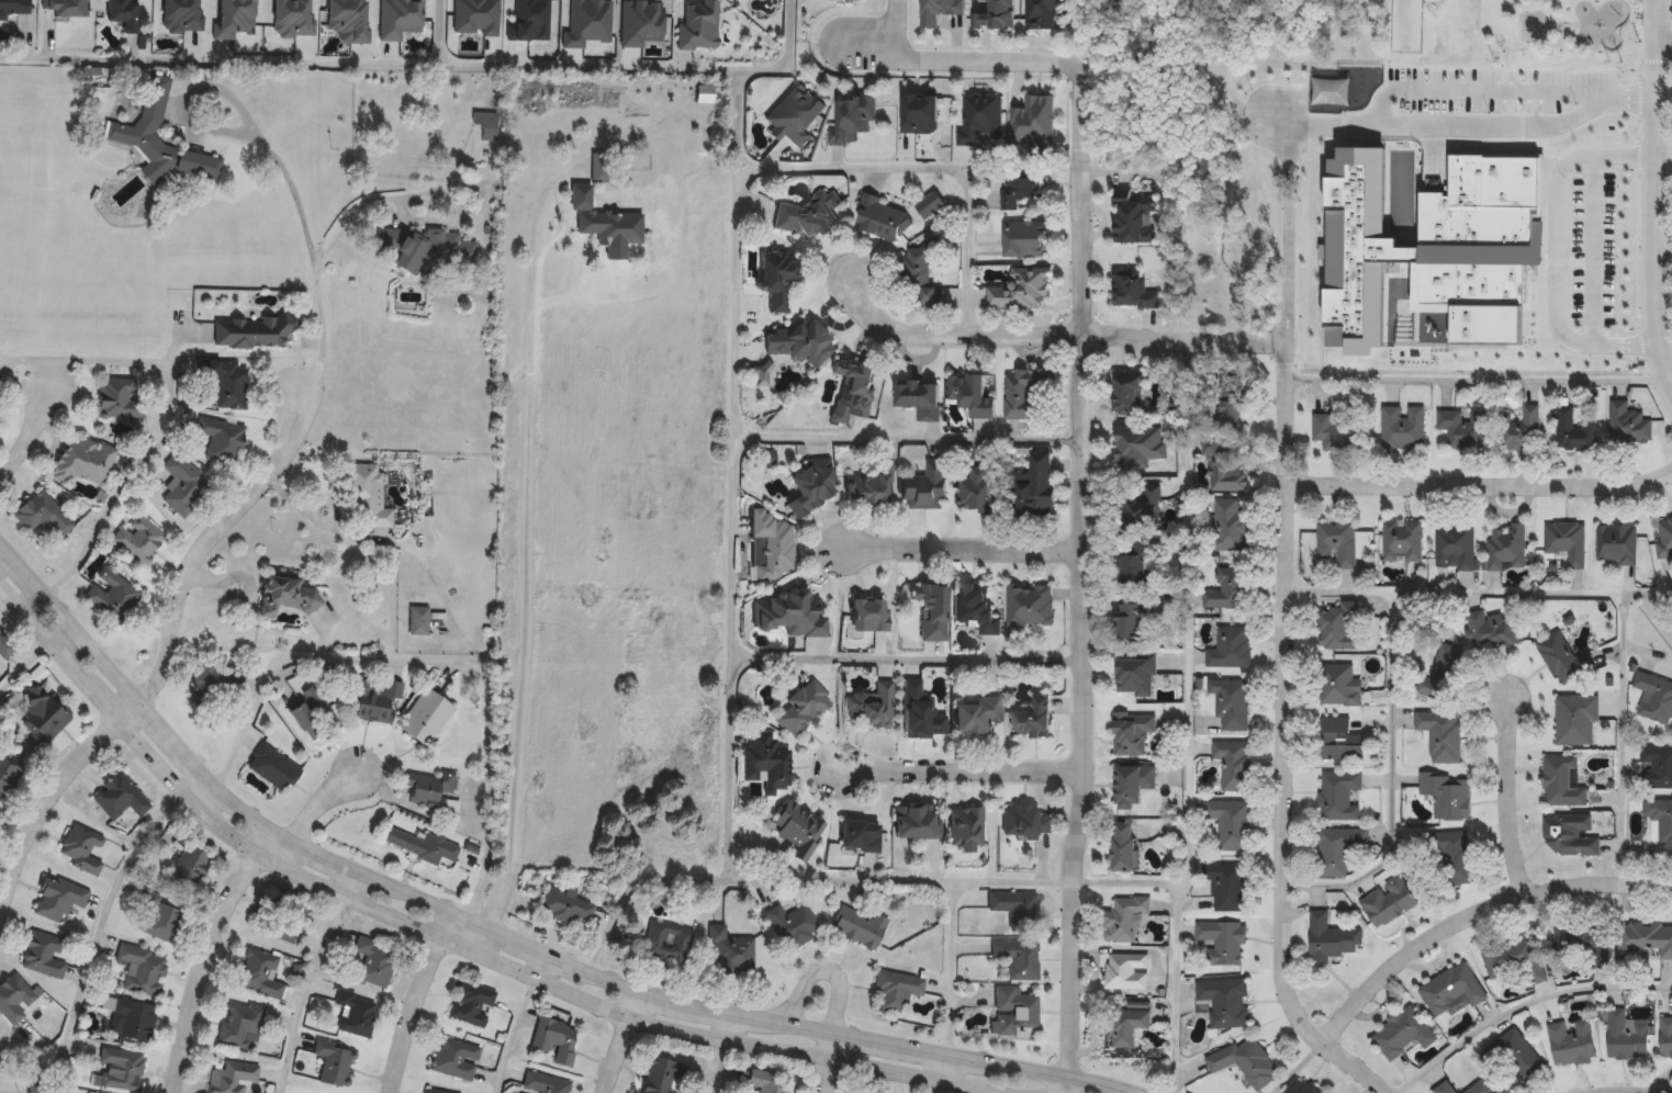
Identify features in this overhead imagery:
building: (14, 7)
building: (67, 8)
building: (947, 10)
building: (1045, 12)
building: (124, 13)
building: (190, 13)
building: (996, 13)
building: (482, 14)
building: (302, 15)
building: (243, 16)
building: (405, 16)
building: (356, 18)
building: (535, 19)
building: (648, 20)
building: (593, 21)
road: (898, 21)
building: (705, 24)
park: (1404, 24)
park: (1331, 45)
road: (1663, 45)
building: (1459, 52)
road: (218, 60)
road: (956, 63)
road: (553, 67)
road: (744, 71)
road: (1482, 87)
building: (705, 95)
building: (851, 117)
building: (980, 119)
building: (1033, 121)
building: (487, 124)
road: (1365, 125)
building: (131, 133)
road: (1663, 165)
building: (601, 166)
road: (797, 168)
building: (1019, 187)
road: (1656, 194)
road: (417, 198)
road: (1557, 204)
building: (929, 205)
road: (302, 214)
building: (809, 215)
road: (1636, 215)
building: (882, 218)
building: (1133, 218)
building: (609, 225)
building: (1023, 238)
road: (1592, 248)
building: (455, 249)
building: (1429, 250)
building: (918, 271)
building: (776, 278)
building: (1019, 290)
building: (1133, 290)
building: (250, 330)
road: (1054, 338)
building: (798, 341)
road: (1612, 341)
building: (227, 381)
road: (1480, 382)
building: (1023, 390)
building: (853, 391)
building: (1129, 392)
building: (968, 395)
building: (119, 397)
building: (918, 399)
building: (1232, 401)
building: (1628, 425)
building: (1400, 427)
building: (1461, 428)
building: (1516, 429)
road: (165, 430)
building: (1573, 430)
road: (34, 432)
building: (1335, 432)
building: (221, 437)
road: (800, 438)
building: (1138, 446)
building: (82, 459)
building: (1223, 465)
road: (1481, 484)
building: (868, 485)
building: (809, 487)
building: (924, 487)
building: (1033, 487)
building: (187, 488)
building: (977, 488)
building: (367, 496)
building: (1141, 508)
building: (42, 514)
building: (1230, 515)
road: (526, 517)
building: (141, 537)
building: (1664, 537)
building: (1338, 541)
building: (1403, 541)
building: (1567, 541)
road: (0, 542)
building: (1617, 543)
road: (397, 545)
building: (770, 545)
road: (965, 546)
building: (1456, 546)
building: (1507, 548)
building: (1134, 561)
road: (1085, 582)
building: (1225, 588)
road: (1533, 593)
building: (113, 594)
building: (285, 595)
road: (35, 604)
building: (1030, 605)
building: (975, 606)
building: (931, 611)
road: (1189, 613)
building: (789, 615)
building: (868, 616)
building: (419, 619)
building: (1134, 621)
building: (1338, 627)
road: (59, 630)
building: (1491, 630)
building: (4, 645)
building: (1230, 646)
road: (167, 656)
building: (1560, 656)
road: (798, 658)
road: (437, 660)
road: (24, 666)
building: (1441, 673)
building: (1135, 674)
building: (1338, 685)
building: (1654, 697)
building: (1232, 701)
building: (380, 702)
building: (871, 707)
building: (803, 708)
building: (44, 713)
building: (312, 713)
building: (976, 715)
building: (426, 718)
building: (1032, 720)
building: (1576, 720)
road: (1394, 725)
building: (1133, 731)
building: (1441, 734)
road: (1286, 736)
road: (1620, 739)
building: (1340, 740)
building: (765, 760)
building: (1233, 763)
building: (273, 766)
road: (961, 767)
building: (1657, 767)
building: (8, 770)
road: (191, 779)
building: (1563, 781)
building: (1133, 784)
building: (429, 788)
building: (1338, 793)
building: (1448, 795)
building: (119, 796)
road: (1506, 799)
road: (322, 800)
building: (916, 821)
building: (1023, 821)
building: (1231, 822)
building: (965, 825)
building: (1661, 825)
building: (797, 829)
building: (1570, 834)
building: (859, 836)
building: (422, 843)
building: (1124, 845)
building: (81, 846)
building: (1337, 848)
building: (1456, 858)
building: (189, 865)
road: (744, 879)
road: (1073, 883)
building: (1226, 884)
building: (58, 898)
road: (496, 901)
building: (1389, 901)
building: (565, 905)
building: (1015, 909)
road: (1474, 911)
building: (282, 916)
building: (1124, 917)
building: (157, 919)
building: (792, 925)
building: (859, 926)
road: (99, 932)
road: (507, 934)
road: (482, 937)
building: (1331, 937)
building: (1646, 937)
road: (452, 938)
building: (1222, 939)
building: (664, 943)
building: (1590, 945)
road: (206, 949)
building: (729, 951)
building: (43, 954)
building: (1017, 958)
building: (374, 961)
building: (1517, 961)
building: (1126, 970)
building: (144, 971)
building: (261, 974)
road: (837, 974)
road: (305, 990)
building: (896, 990)
building: (1451, 991)
building: (14, 998)
road: (416, 999)
building: (1225, 1001)
building: (472, 1004)
road: (1520, 1005)
building: (1014, 1013)
building: (356, 1014)
building: (133, 1017)
building: (242, 1024)
building: (1125, 1024)
building: (1403, 1033)
road: (512, 1034)
building: (1626, 1035)
building: (1667, 1037)
building: (557, 1040)
road: (621, 1040)
building: (1572, 1041)
road: (721, 1051)
road: (30, 1056)
building: (1515, 1057)
building: (456, 1059)
building: (1246, 1061)
building: (334, 1062)
building: (121, 1069)
building: (660, 1075)
road: (827, 1075)
building: (233, 1077)
building: (767, 1082)
building: (546, 1083)
road: (930, 1085)
building: (1302, 1086)
building: (1445, 1088)
building: (1481, 1088)
building: (436, 1091)
road: (1631, 1091)

